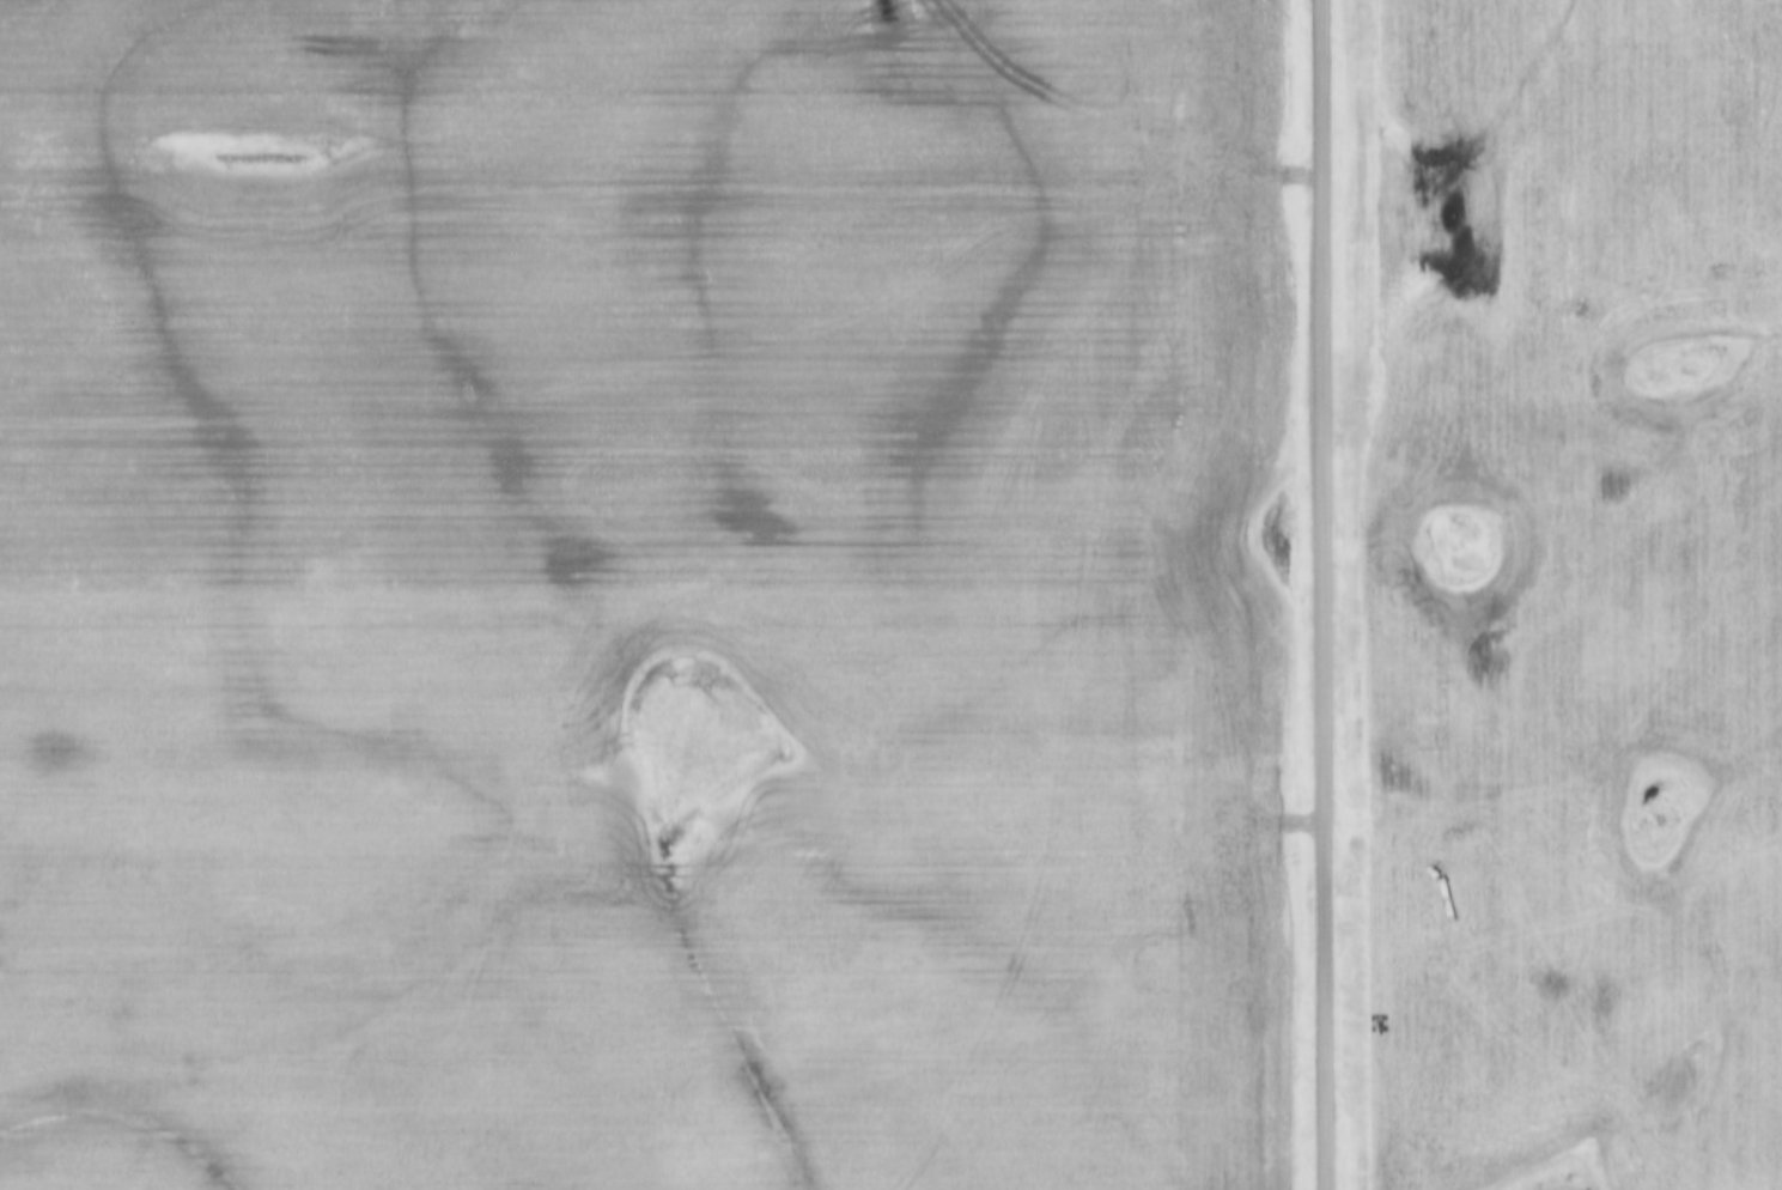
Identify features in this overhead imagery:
road: (1324, 595)

